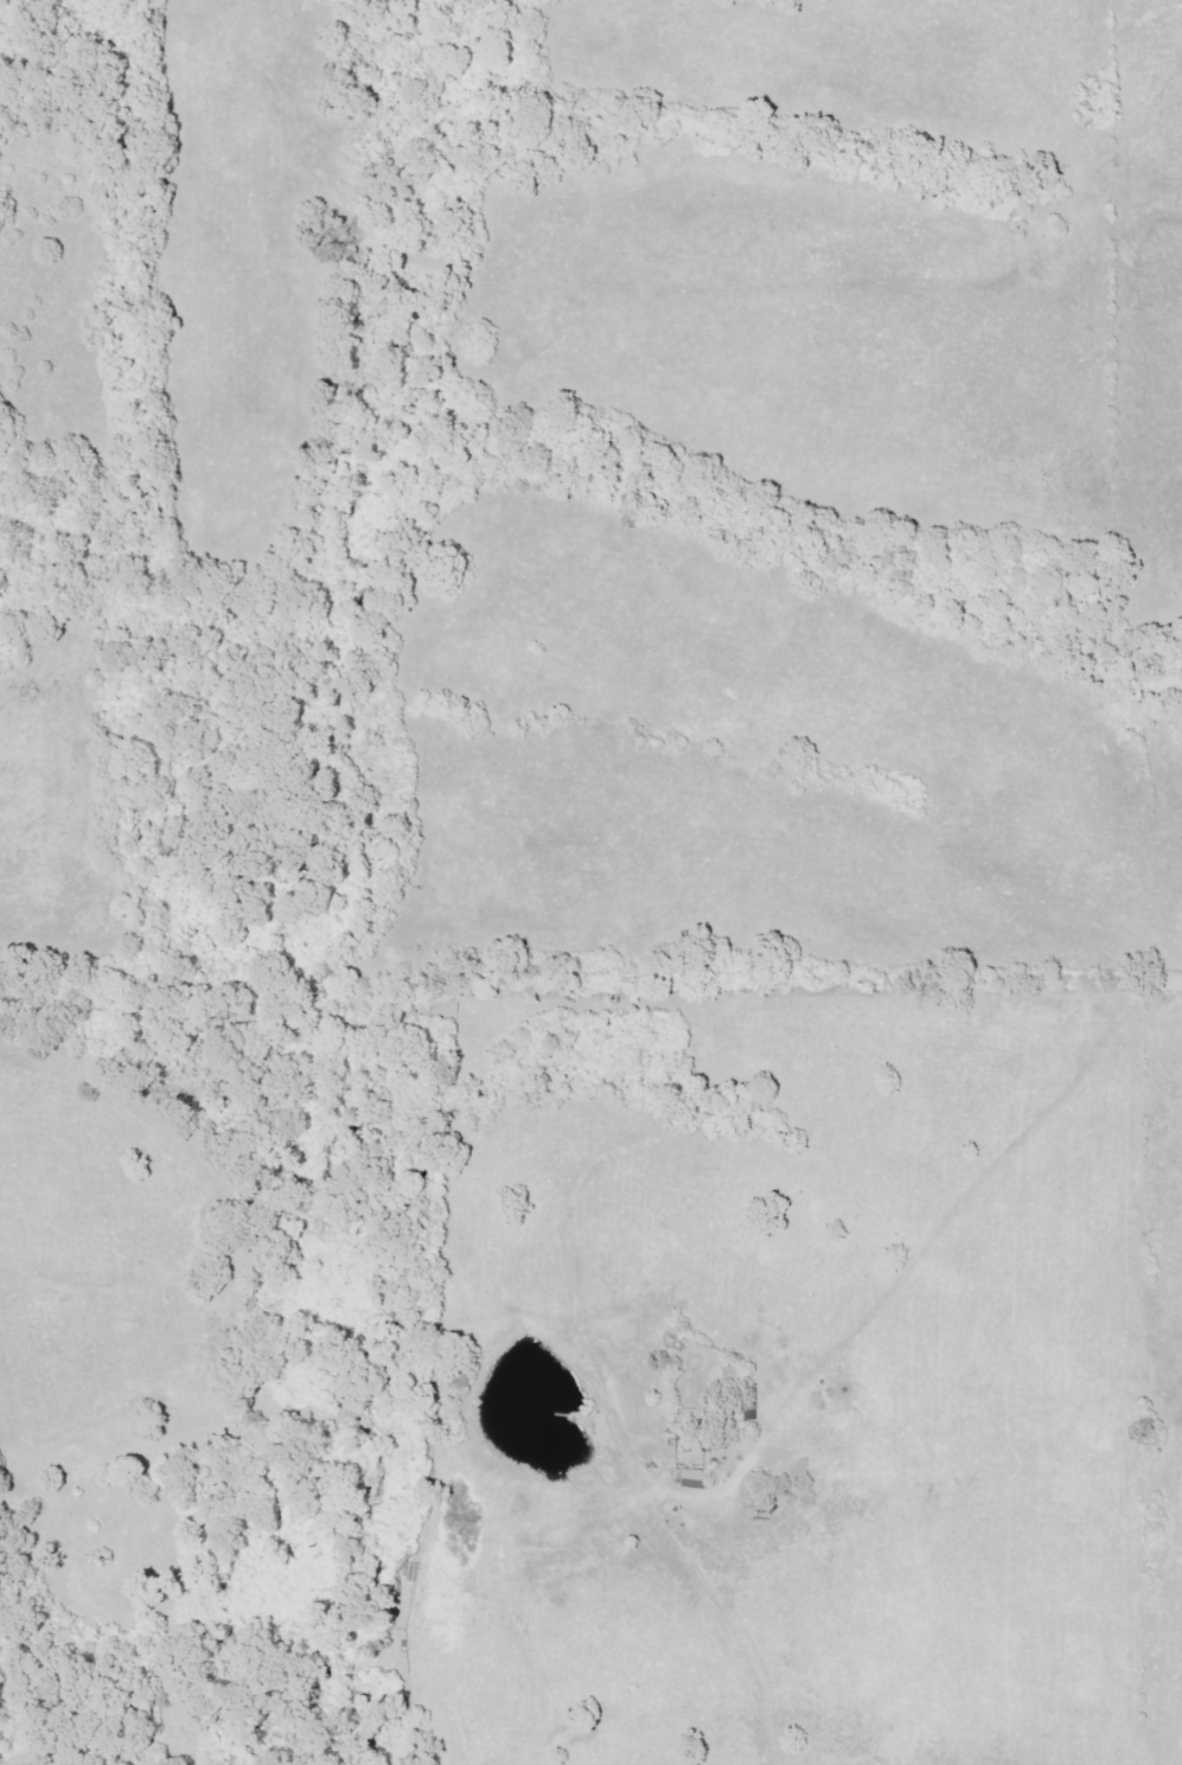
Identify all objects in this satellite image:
road: (1171, 952)
building: (696, 1478)

